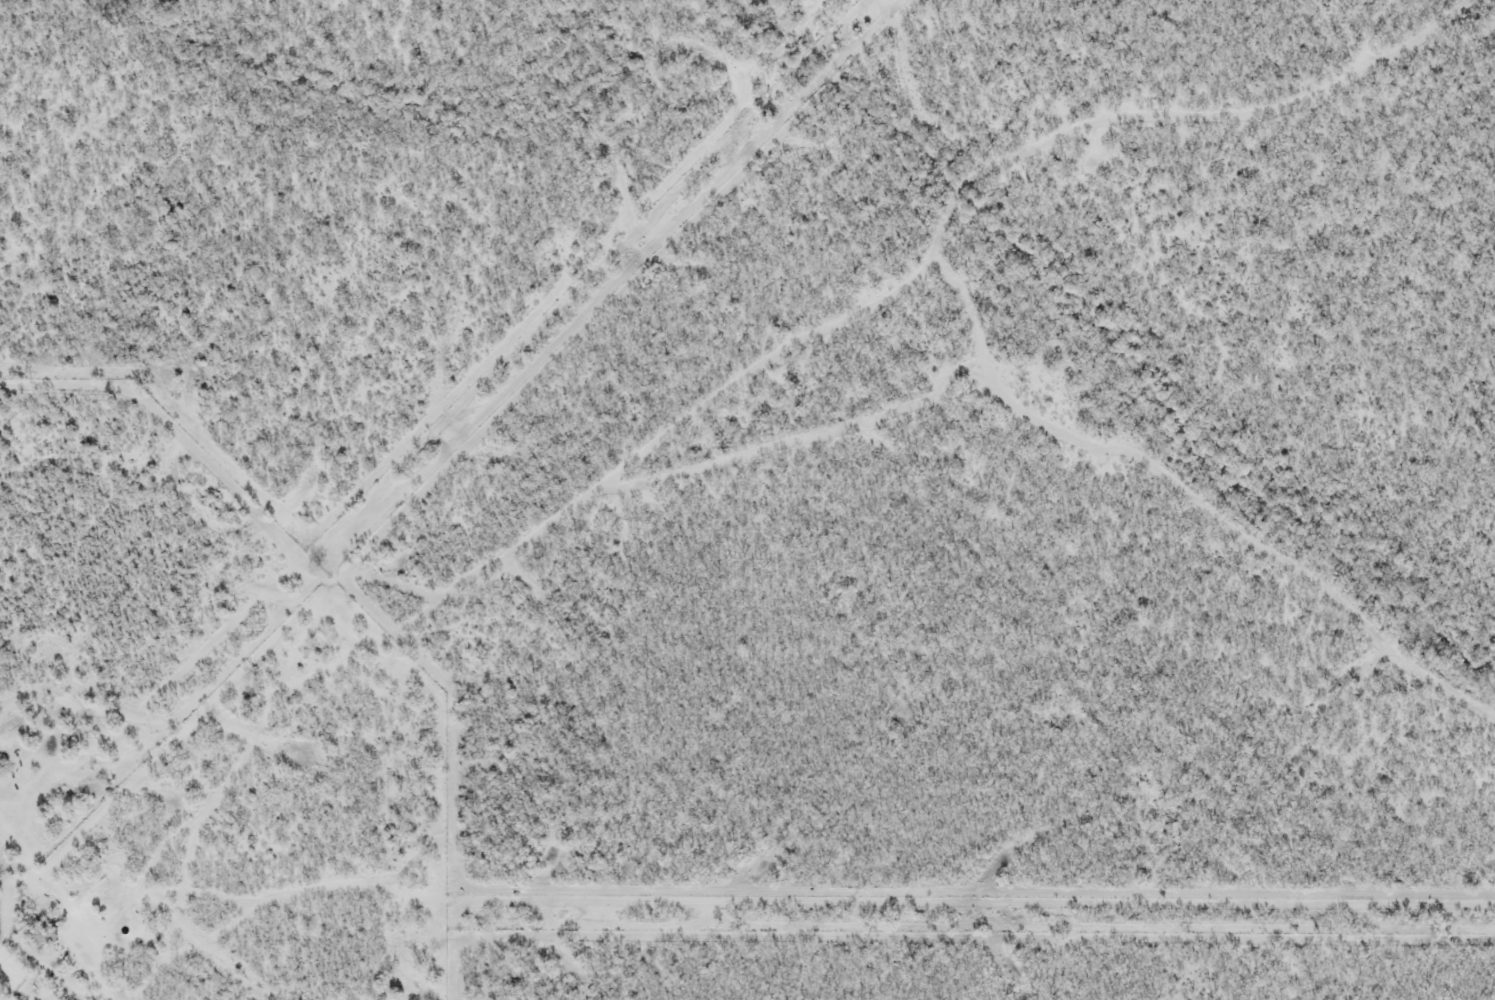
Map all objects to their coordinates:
building: (41, 934)

